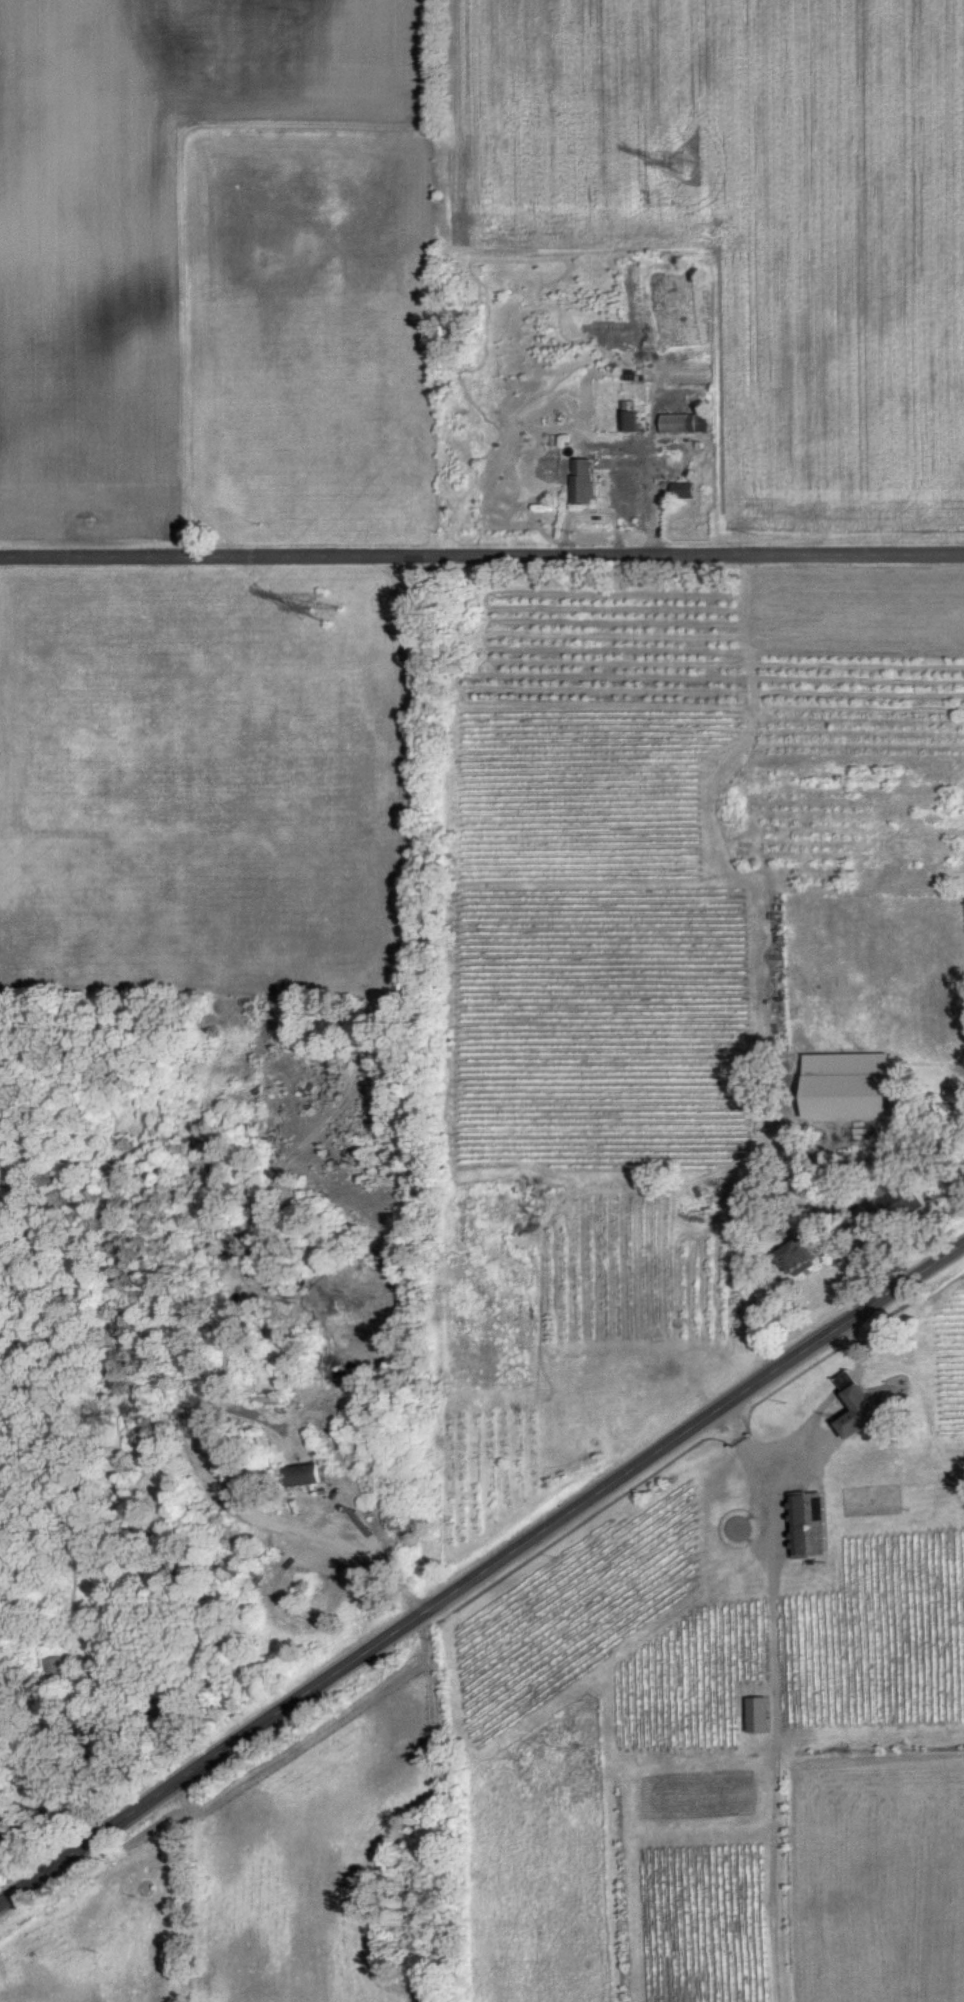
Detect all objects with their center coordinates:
power tower: (682, 164)
building: (630, 419)
building: (684, 424)
building: (584, 483)
building: (684, 491)
road: (481, 560)
power tower: (323, 611)
building: (847, 1086)
road: (300, 1150)
building: (903, 1204)
building: (802, 1259)
building: (870, 1405)
building: (304, 1476)
building: (809, 1530)
road: (483, 1580)
building: (56, 1665)
building: (760, 1714)

